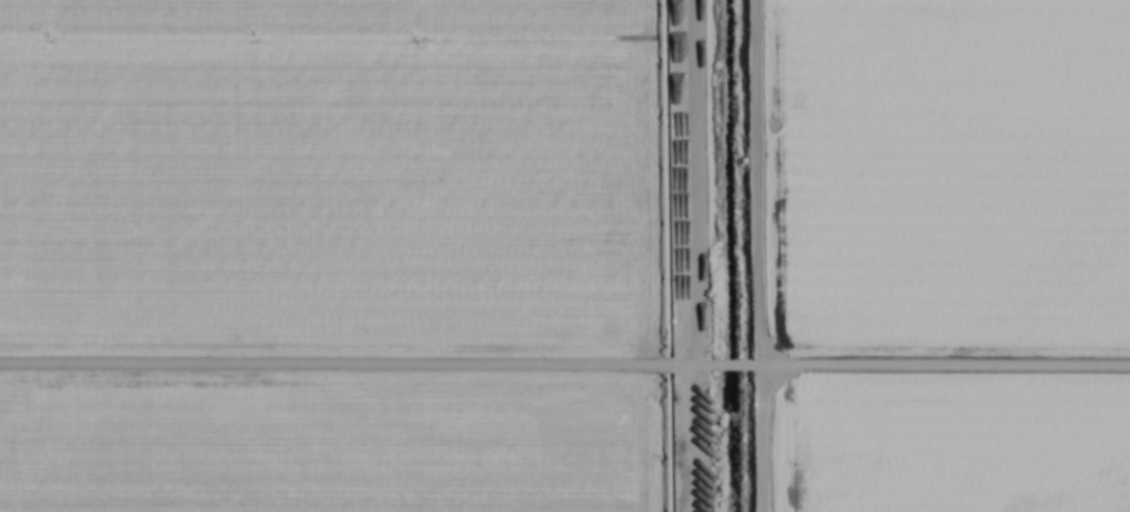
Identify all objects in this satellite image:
crop: (565, 256)

